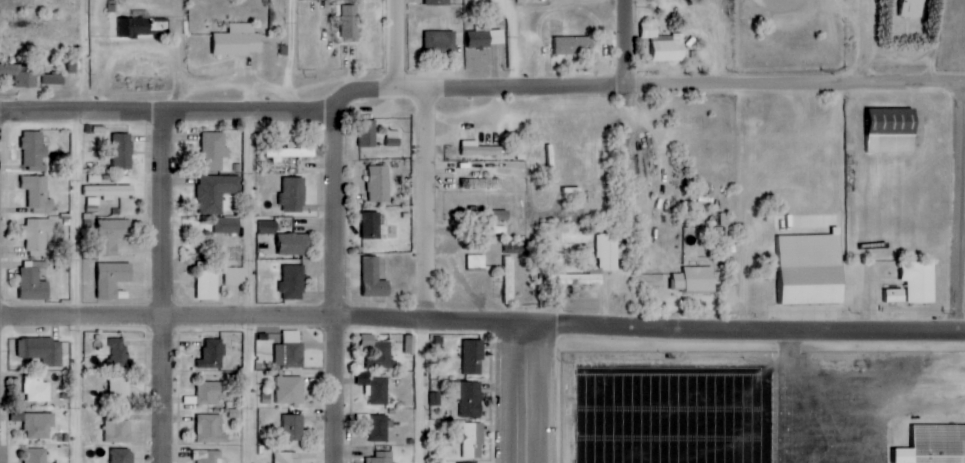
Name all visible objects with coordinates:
building: (438, 2)
building: (914, 8)
building: (350, 22)
building: (134, 27)
building: (486, 38)
building: (239, 41)
building: (441, 42)
road: (623, 43)
building: (665, 44)
road: (391, 45)
building: (575, 46)
road: (288, 56)
building: (21, 75)
building: (54, 79)
road: (695, 86)
road: (408, 90)
road: (198, 115)
building: (892, 131)
building: (368, 134)
building: (394, 138)
building: (35, 152)
building: (213, 152)
building: (289, 153)
building: (123, 154)
building: (484, 183)
building: (379, 184)
building: (109, 191)
building: (217, 192)
building: (38, 194)
building: (294, 195)
road: (423, 205)
building: (372, 225)
building: (228, 226)
building: (269, 227)
road: (75, 231)
building: (37, 234)
building: (113, 235)
building: (293, 244)
building: (608, 251)
building: (477, 262)
building: (235, 276)
building: (113, 279)
building: (374, 279)
building: (509, 280)
building: (694, 280)
road: (962, 280)
building: (208, 281)
building: (34, 282)
building: (920, 282)
building: (294, 283)
road: (335, 284)
road: (169, 288)
road: (248, 289)
building: (895, 296)
road: (482, 322)
building: (410, 344)
building: (43, 350)
building: (290, 351)
building: (119, 352)
building: (378, 352)
building: (213, 354)
building: (474, 357)
building: (365, 379)
building: (38, 390)
building: (120, 390)
building: (290, 390)
building: (381, 391)
building: (211, 392)
road: (420, 392)
road: (523, 393)
building: (468, 397)
building: (39, 425)
building: (294, 427)
building: (380, 427)
building: (117, 429)
building: (211, 429)
building: (474, 440)
building: (934, 445)
building: (123, 456)
building: (210, 456)
building: (289, 457)
building: (382, 457)
building: (462, 462)

